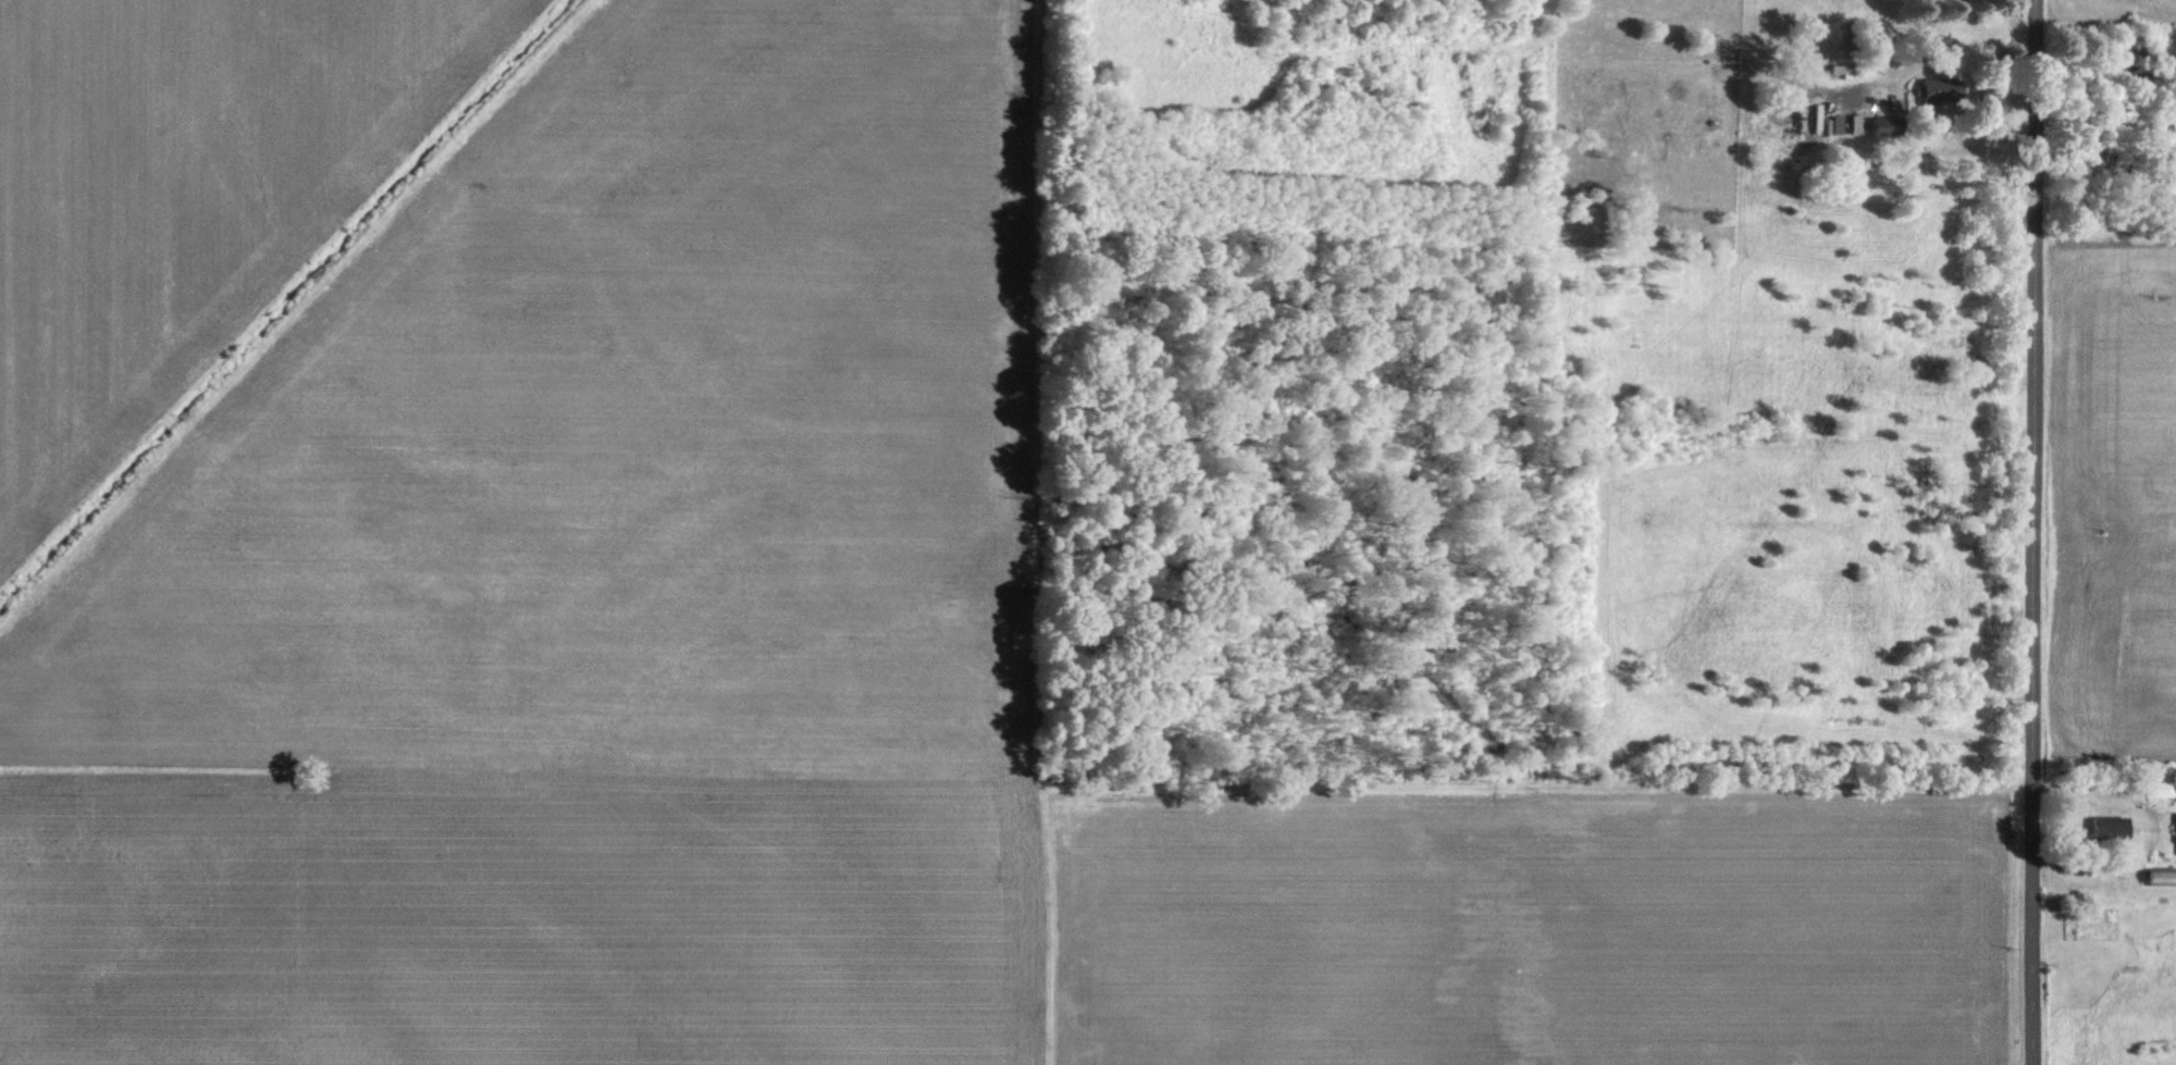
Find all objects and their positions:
building: (1929, 96)
building: (1878, 124)
road: (2041, 532)
building: (2107, 829)
building: (2159, 876)

